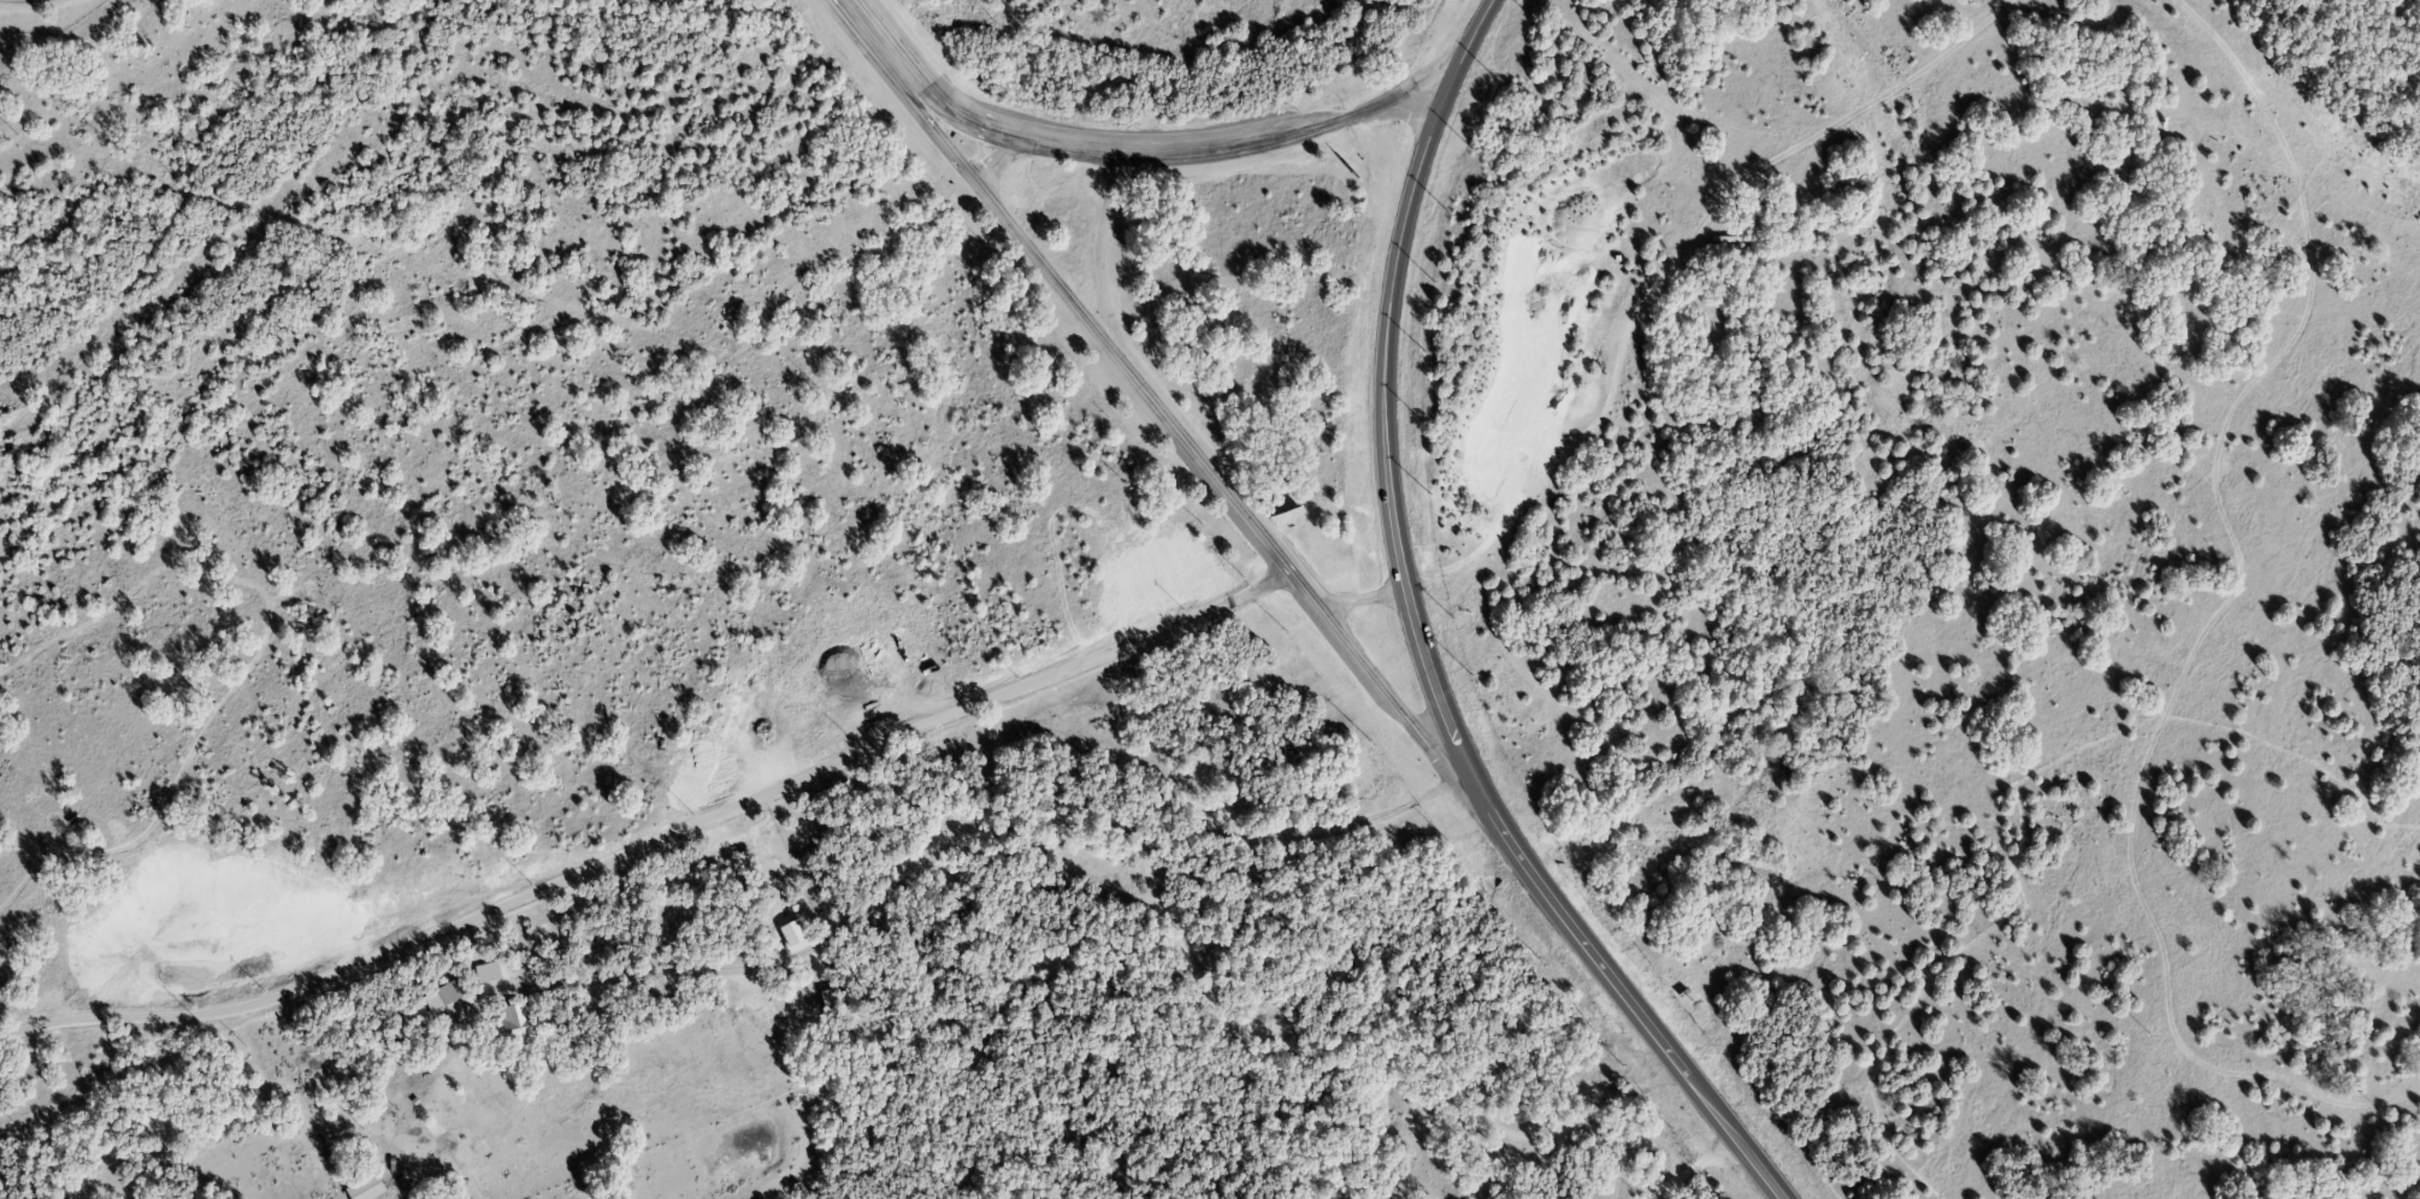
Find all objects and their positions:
road: (1197, 156)
road: (1102, 266)
road: (1168, 423)
road: (1386, 427)
road: (651, 834)
road: (948, 841)
building: (791, 932)
building: (486, 971)
building: (443, 994)
building: (514, 1024)
road: (1643, 1024)
road: (1684, 1168)
building: (365, 1187)

